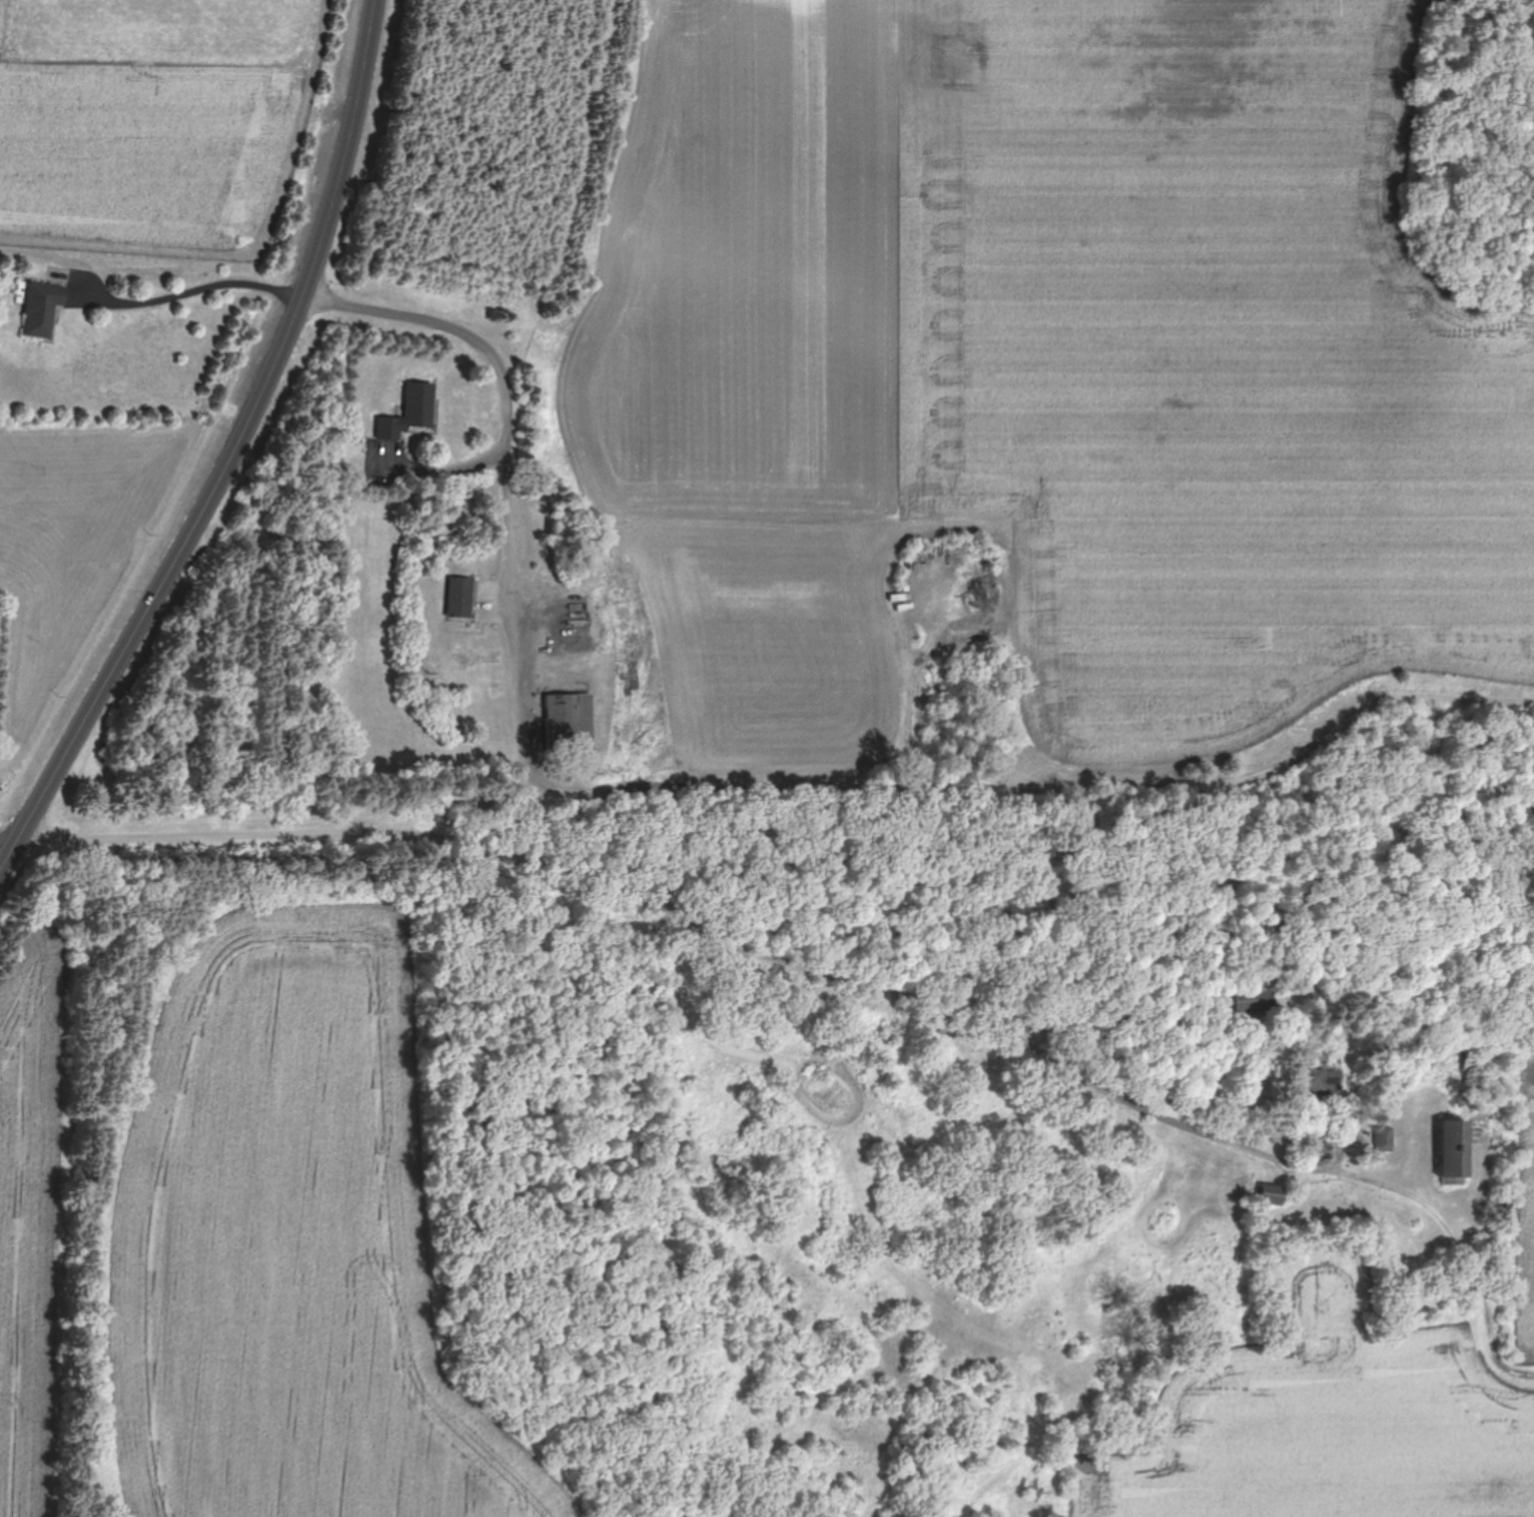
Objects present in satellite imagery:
building: (42, 308)
road: (375, 311)
building: (411, 412)
road: (237, 455)
building: (463, 598)
building: (571, 722)
road: (526, 749)
road: (689, 927)
building: (1250, 1000)
building: (1464, 1062)
building: (1315, 1078)
building: (1383, 1139)
building: (1449, 1152)
building: (1266, 1195)
park: (564, 1238)

